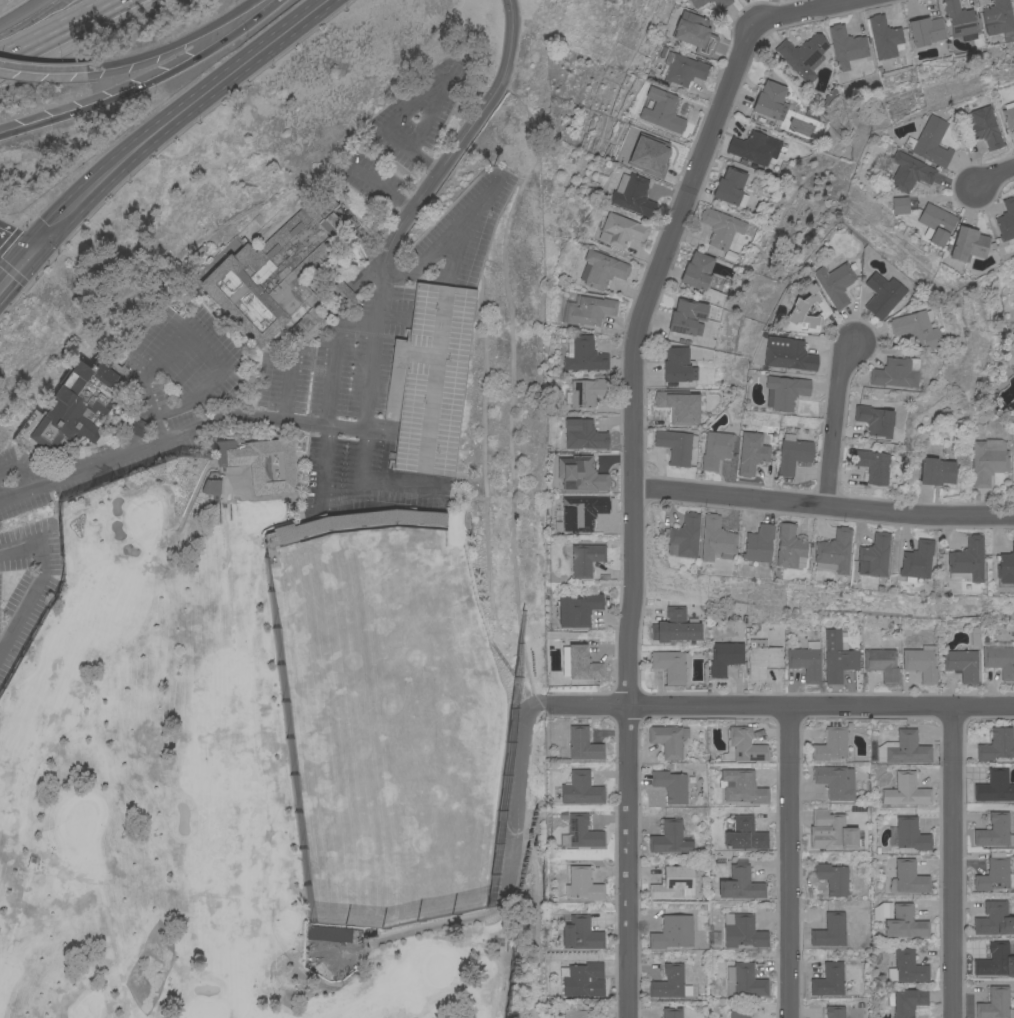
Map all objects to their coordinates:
road: (1, 0)
building: (709, 0)
building: (697, 2)
building: (721, 3)
building: (998, 17)
building: (959, 18)
road: (57, 29)
building: (925, 30)
building: (694, 32)
building: (884, 36)
road: (171, 44)
building: (846, 46)
building: (803, 55)
road: (41, 68)
building: (682, 68)
building: (775, 78)
road: (145, 83)
building: (770, 100)
road: (435, 103)
building: (660, 109)
building: (1009, 114)
road: (173, 120)
building: (983, 127)
building: (930, 141)
building: (755, 146)
building: (653, 150)
road: (421, 160)
building: (909, 171)
road: (994, 176)
building: (620, 182)
road: (377, 185)
building: (729, 185)
building: (634, 196)
road: (684, 200)
building: (900, 205)
building: (1006, 220)
road: (463, 221)
building: (936, 223)
building: (621, 228)
building: (722, 230)
road: (14, 240)
building: (968, 243)
traffic signals: (30, 252)
road: (428, 256)
road: (14, 269)
building: (601, 269)
building: (277, 274)
building: (701, 277)
building: (834, 283)
building: (343, 294)
building: (881, 294)
building: (798, 306)
building: (587, 309)
building: (687, 316)
road: (393, 317)
building: (914, 329)
building: (583, 354)
building: (789, 355)
road: (333, 358)
building: (678, 365)
building: (895, 372)
road: (396, 374)
road: (434, 378)
building: (430, 379)
parking lot: (430, 379)
road: (368, 383)
road: (202, 391)
building: (585, 391)
building: (785, 391)
building: (680, 403)
building: (70, 408)
building: (874, 419)
road: (835, 421)
building: (131, 423)
road: (135, 425)
road: (379, 428)
building: (583, 434)
road: (125, 444)
building: (676, 445)
building: (716, 448)
building: (751, 452)
building: (793, 454)
building: (988, 460)
building: (262, 464)
road: (321, 464)
building: (873, 464)
building: (936, 470)
road: (17, 471)
building: (580, 473)
road: (372, 485)
building: (209, 486)
road: (824, 504)
building: (582, 511)
building: (369, 520)
building: (278, 536)
building: (683, 536)
building: (715, 537)
building: (758, 543)
building: (789, 546)
building: (833, 551)
building: (873, 555)
building: (584, 557)
building: (916, 560)
building: (966, 560)
building: (1006, 565)
road: (36, 584)
building: (577, 608)
building: (675, 626)
building: (975, 635)
building: (724, 656)
building: (837, 656)
building: (1000, 656)
building: (762, 657)
building: (806, 660)
building: (582, 662)
building: (920, 662)
building: (882, 663)
building: (671, 664)
building: (962, 664)
road: (784, 704)
building: (668, 739)
building: (583, 743)
building: (831, 743)
building: (996, 743)
building: (743, 745)
building: (904, 748)
park: (265, 750)
road: (628, 752)
building: (835, 780)
building: (670, 784)
building: (742, 786)
building: (994, 786)
building: (580, 788)
building: (906, 790)
building: (831, 830)
building: (994, 830)
building: (581, 832)
building: (910, 833)
building: (744, 834)
building: (669, 837)
road: (791, 861)
road: (952, 861)
building: (994, 872)
building: (832, 877)
building: (907, 877)
road: (506, 879)
building: (582, 883)
building: (673, 883)
building: (740, 883)
building: (882, 910)
building: (994, 918)
building: (905, 921)
building: (829, 929)
building: (742, 930)
building: (580, 932)
building: (672, 933)
building: (327, 934)
building: (995, 960)
building: (906, 966)
building: (582, 978)
building: (829, 979)
building: (745, 980)
building: (669, 982)
building: (906, 1001)
building: (995, 1004)
building: (834, 1011)
building: (578, 1012)
building: (672, 1012)
building: (740, 1012)

